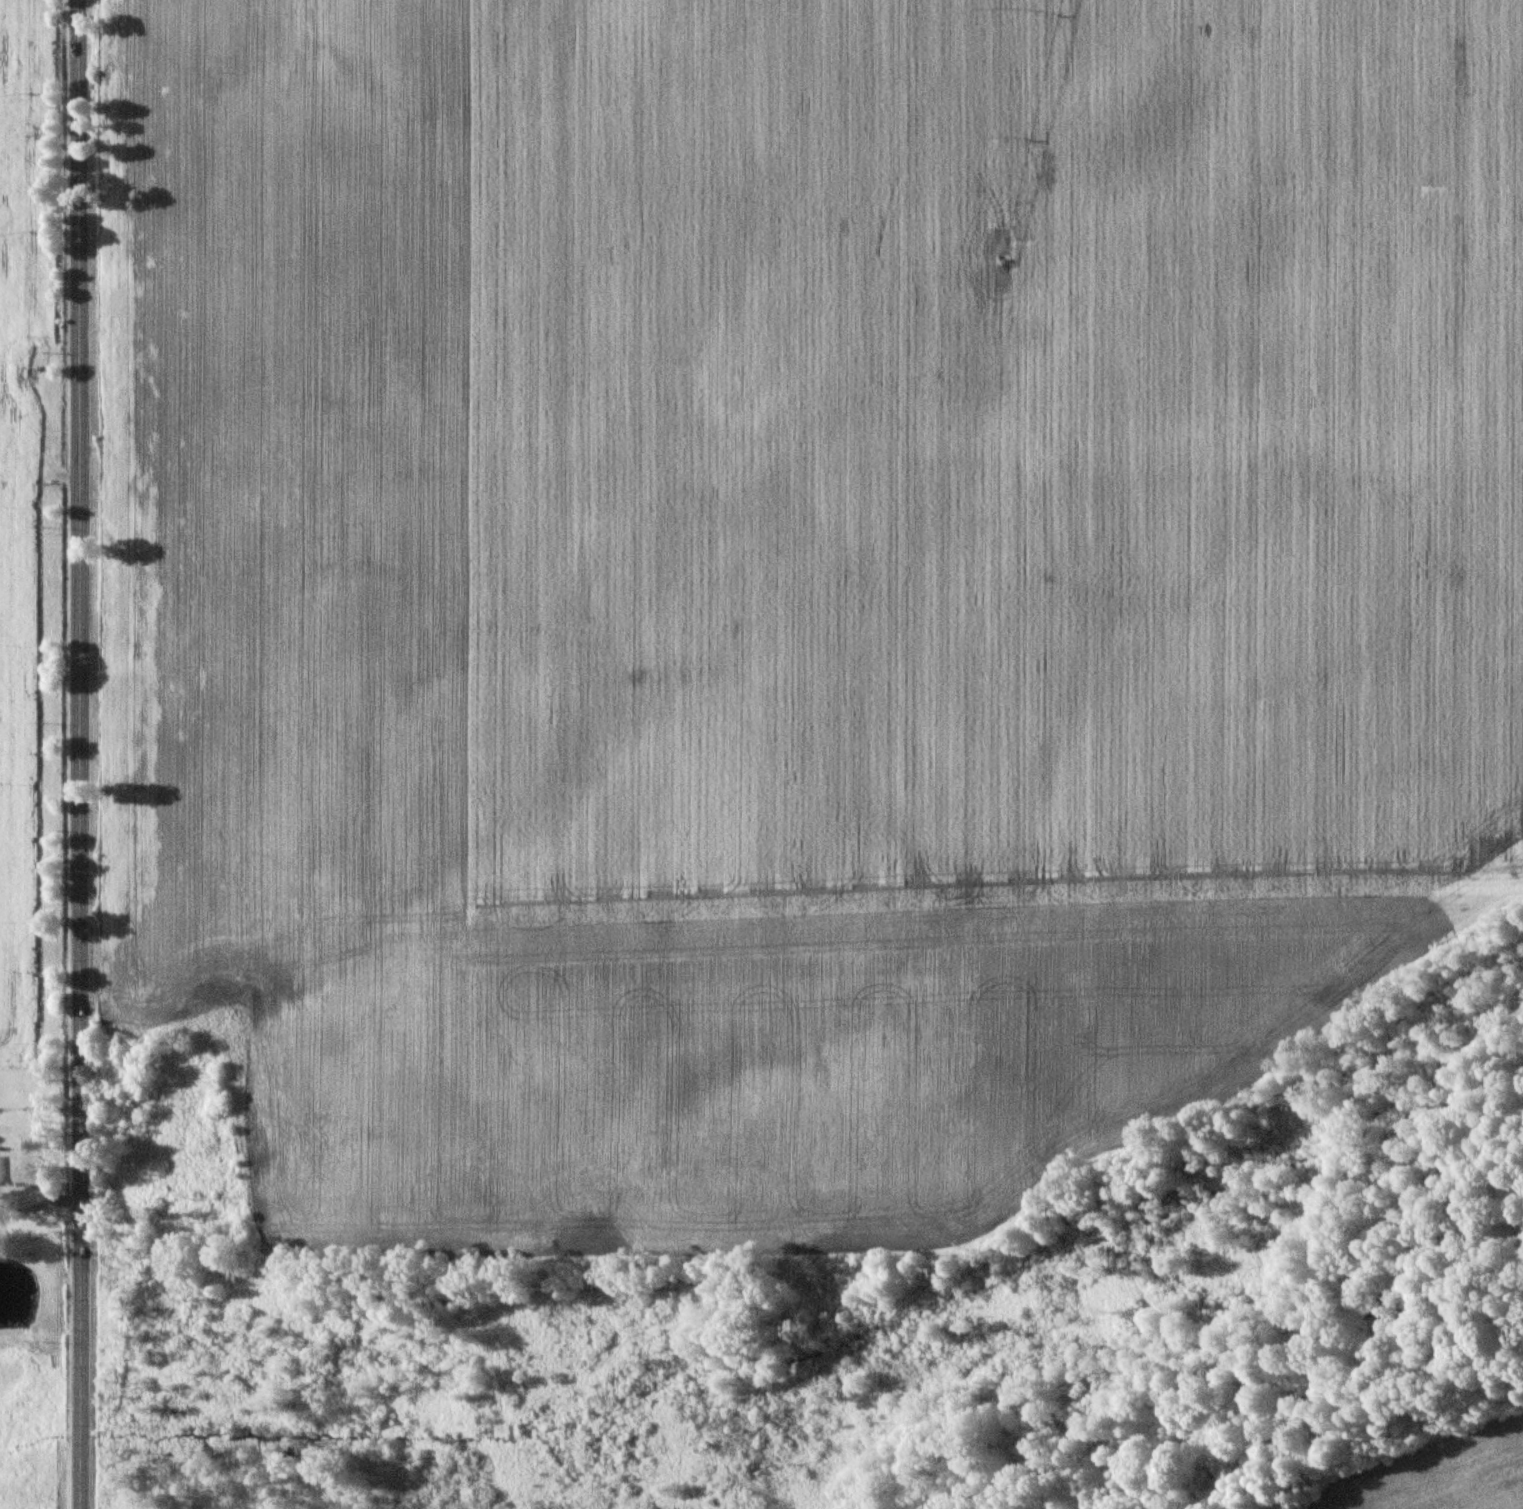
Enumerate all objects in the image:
road: (80, 754)
building: (10, 1171)
road: (39, 1205)

